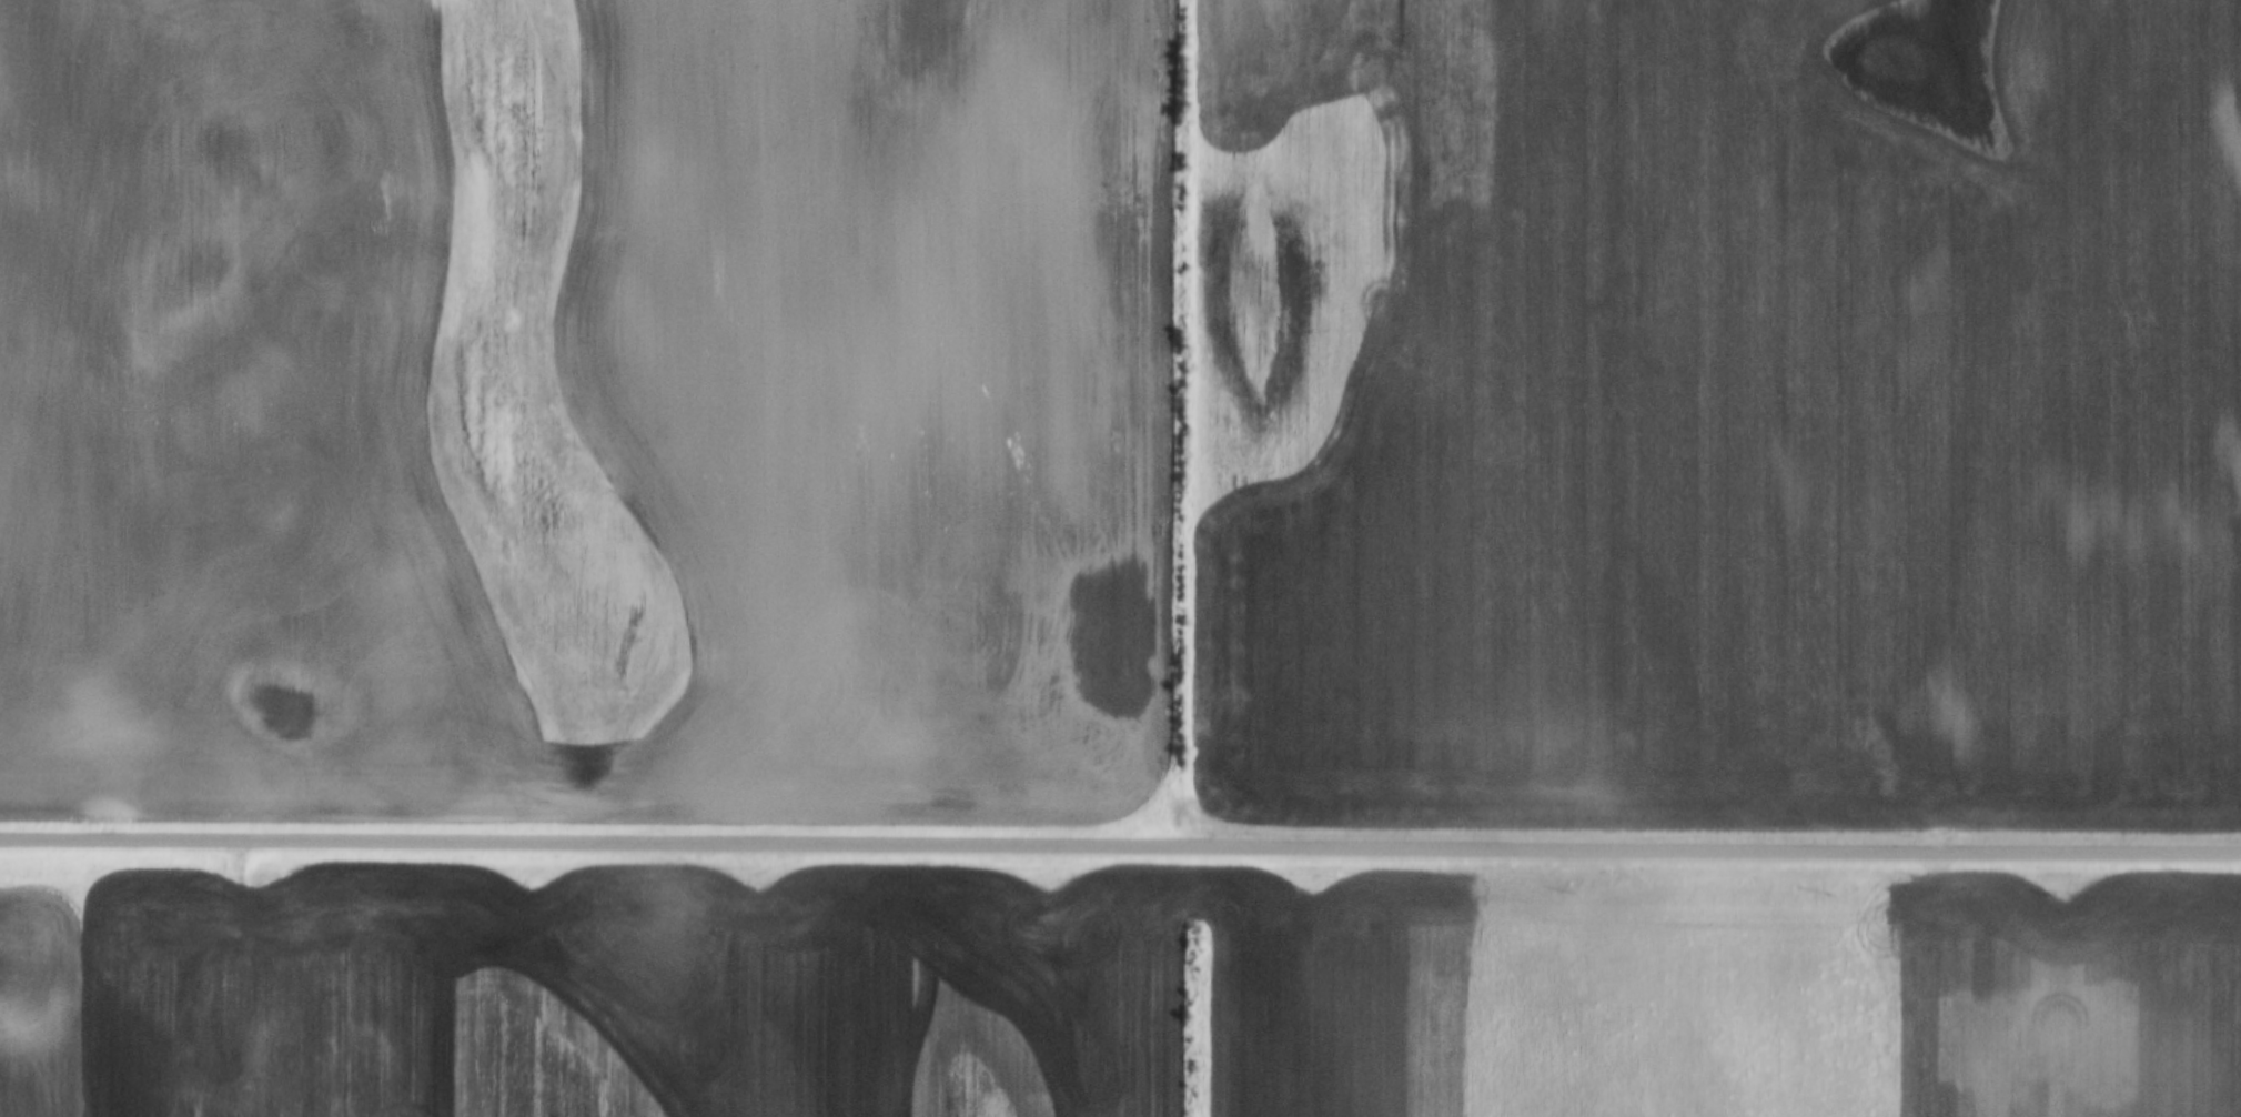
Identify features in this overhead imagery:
road: (1120, 852)
road: (105, 975)

